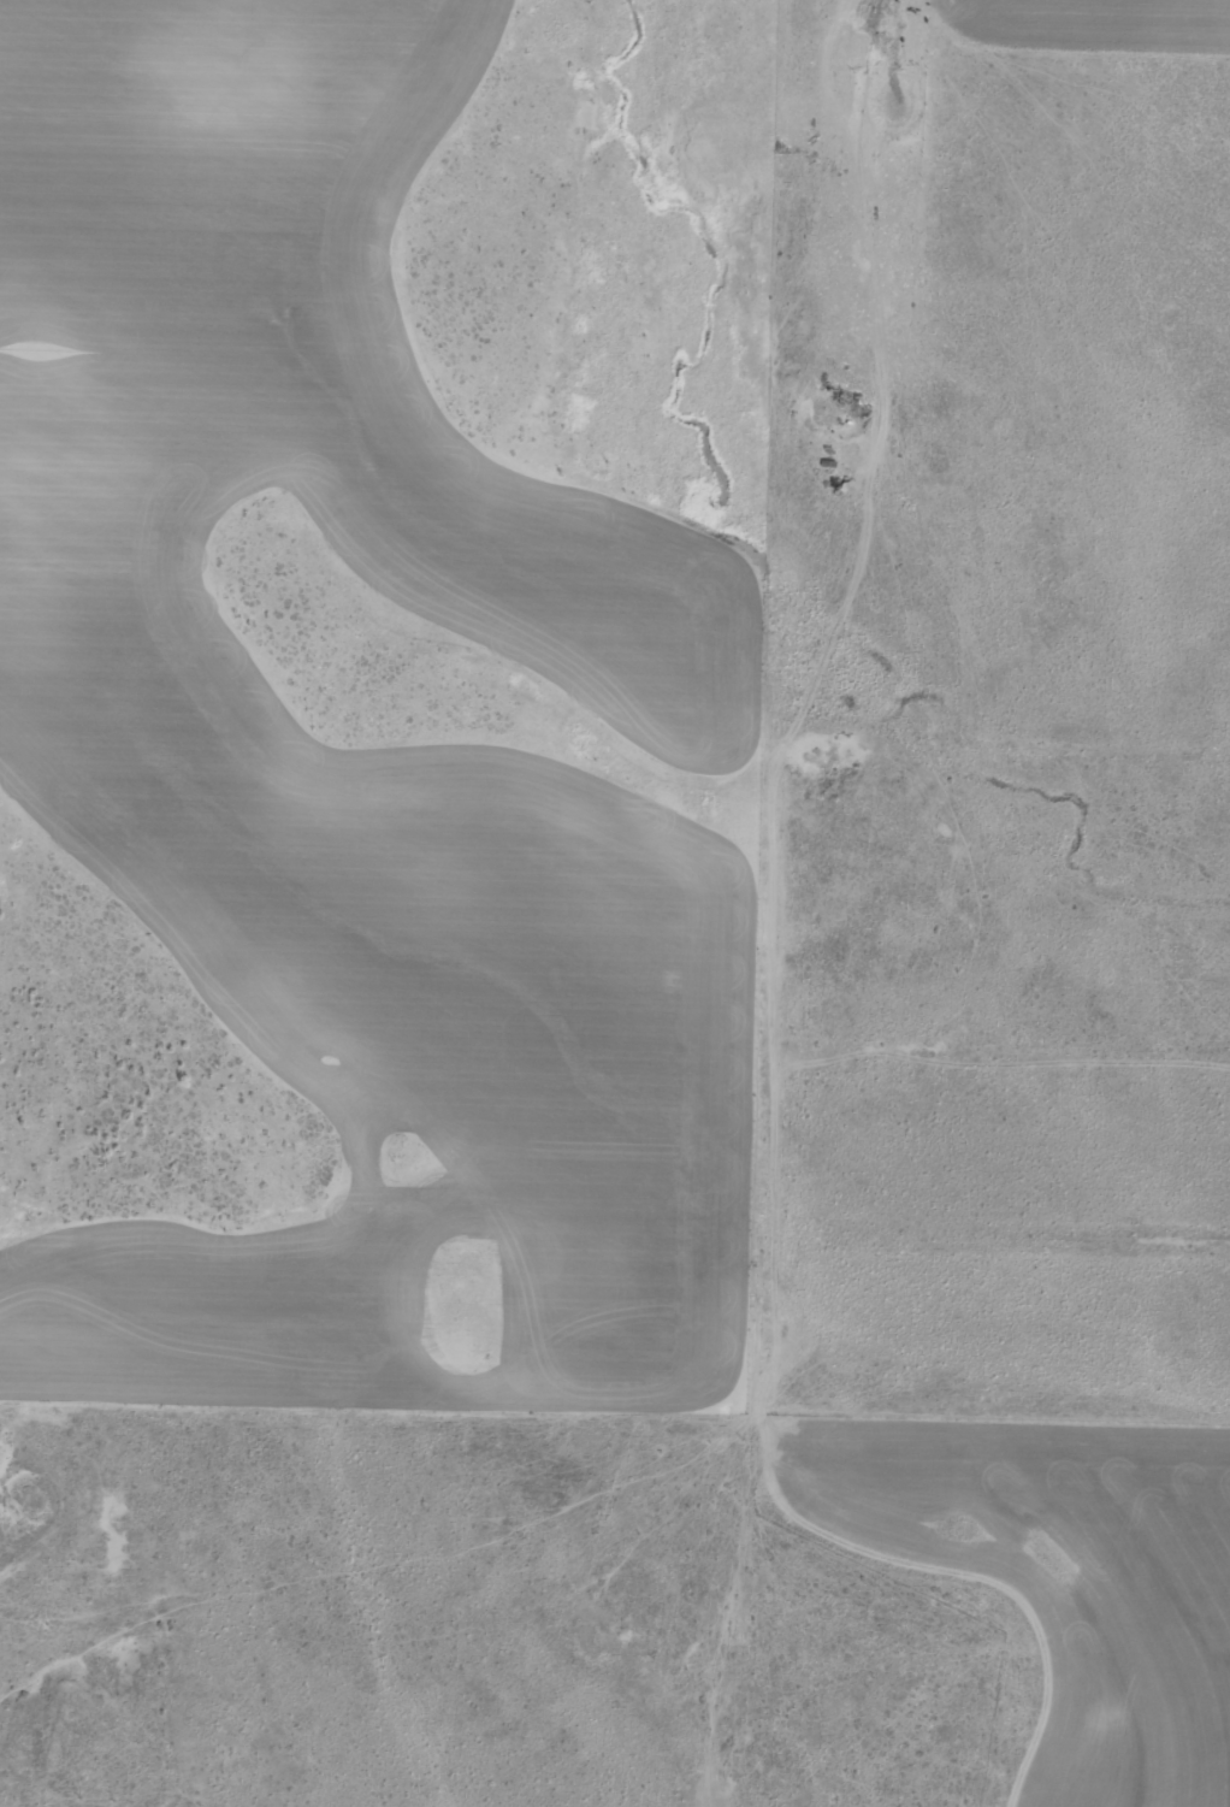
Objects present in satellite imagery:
road: (809, 696)
road: (688, 1659)

